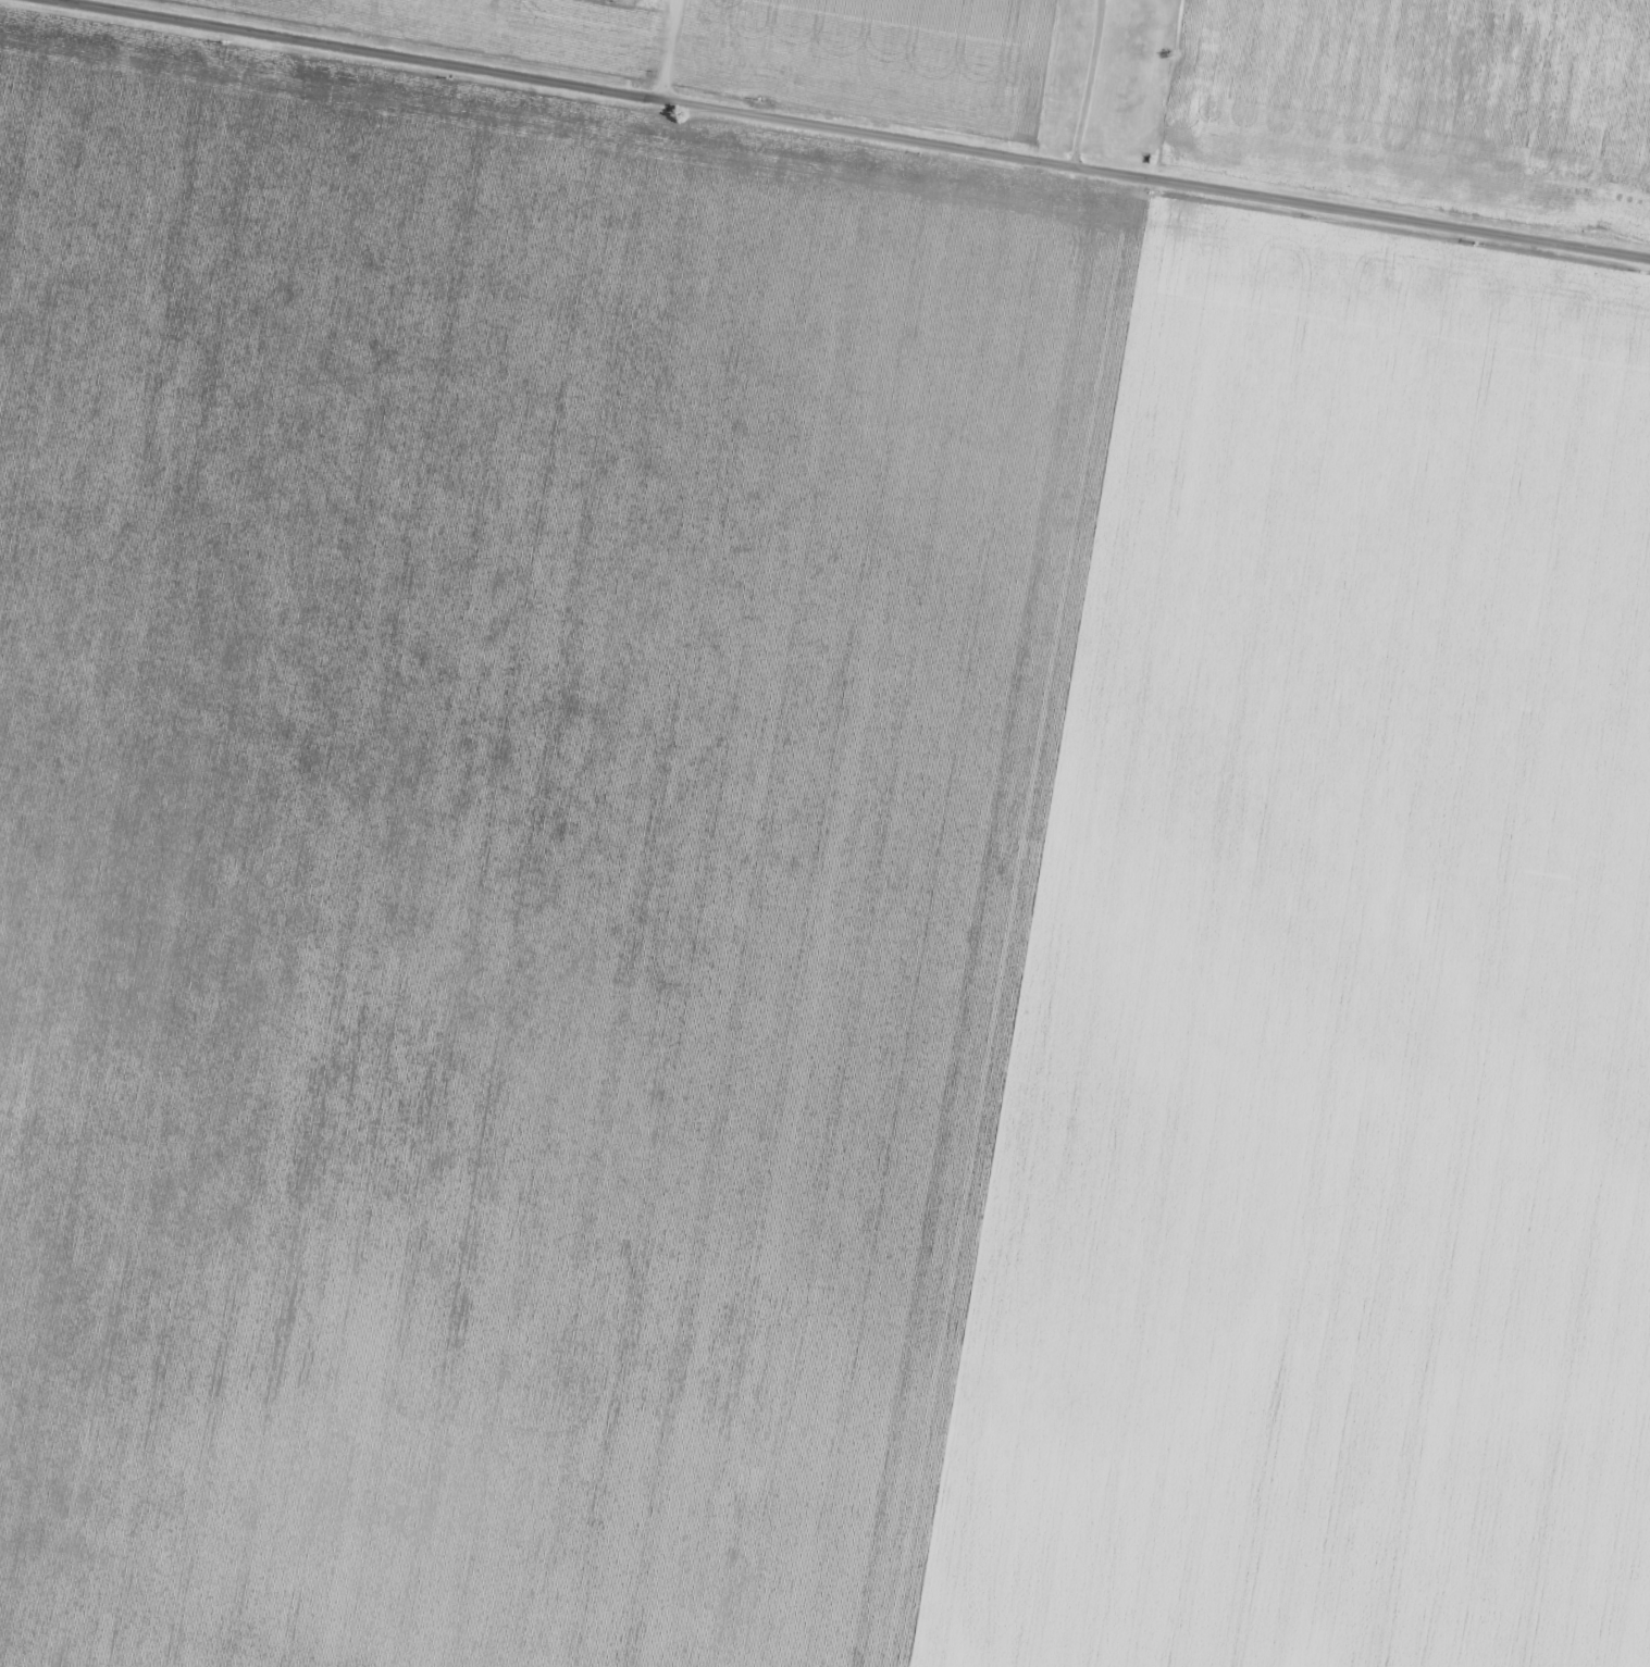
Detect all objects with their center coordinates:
road: (857, 129)

